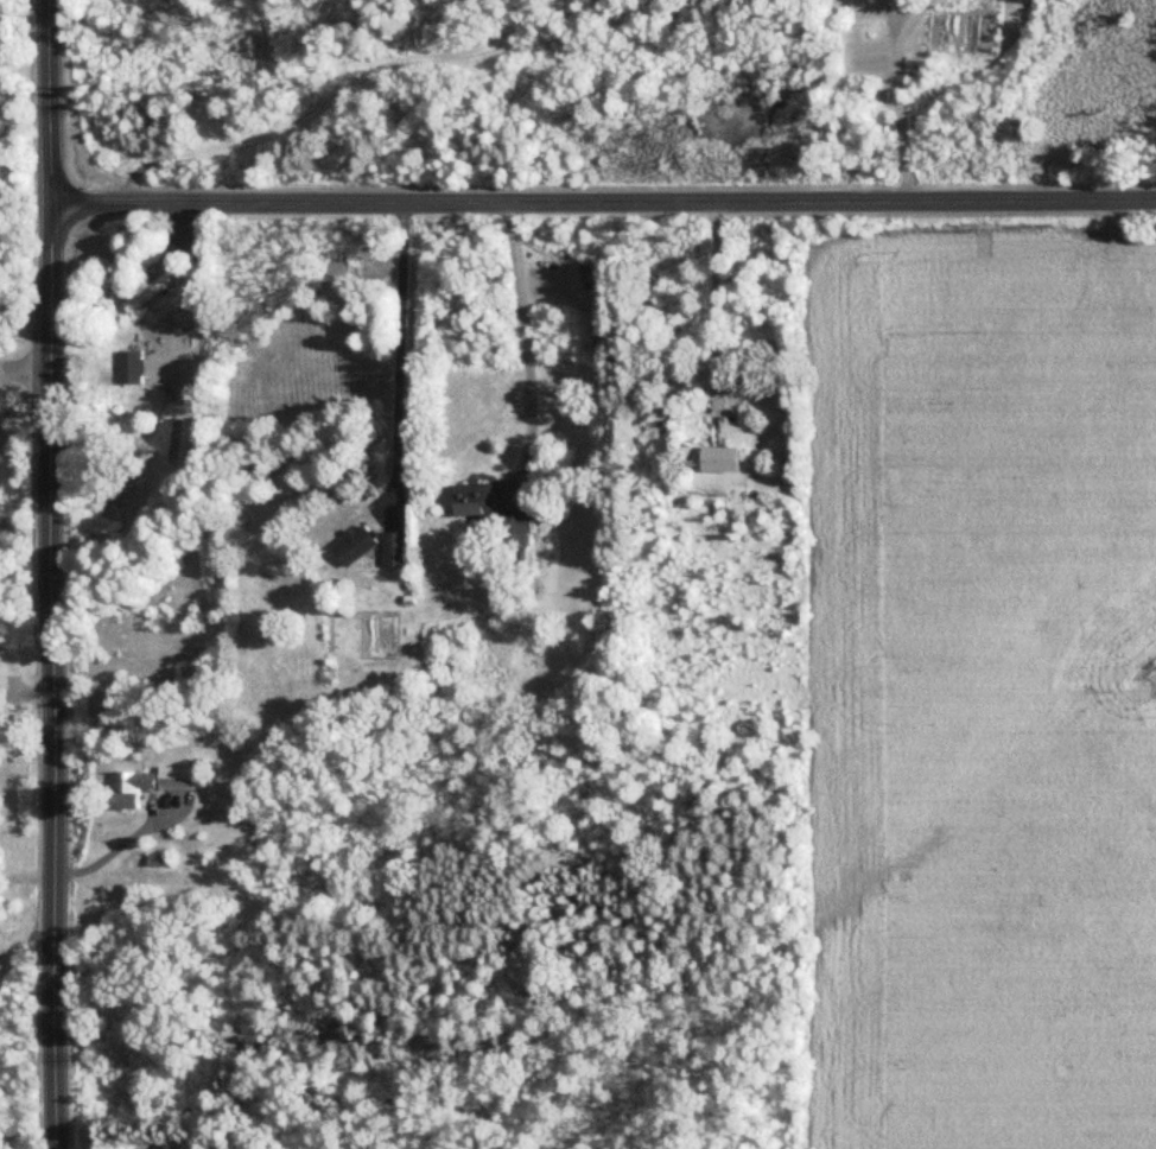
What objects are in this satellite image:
road: (898, 96)
road: (602, 202)
building: (147, 292)
road: (713, 301)
road: (523, 341)
road: (401, 347)
building: (129, 367)
road: (25, 370)
building: (723, 459)
building: (476, 500)
building: (357, 545)
building: (396, 550)
road: (51, 573)
building: (153, 785)

